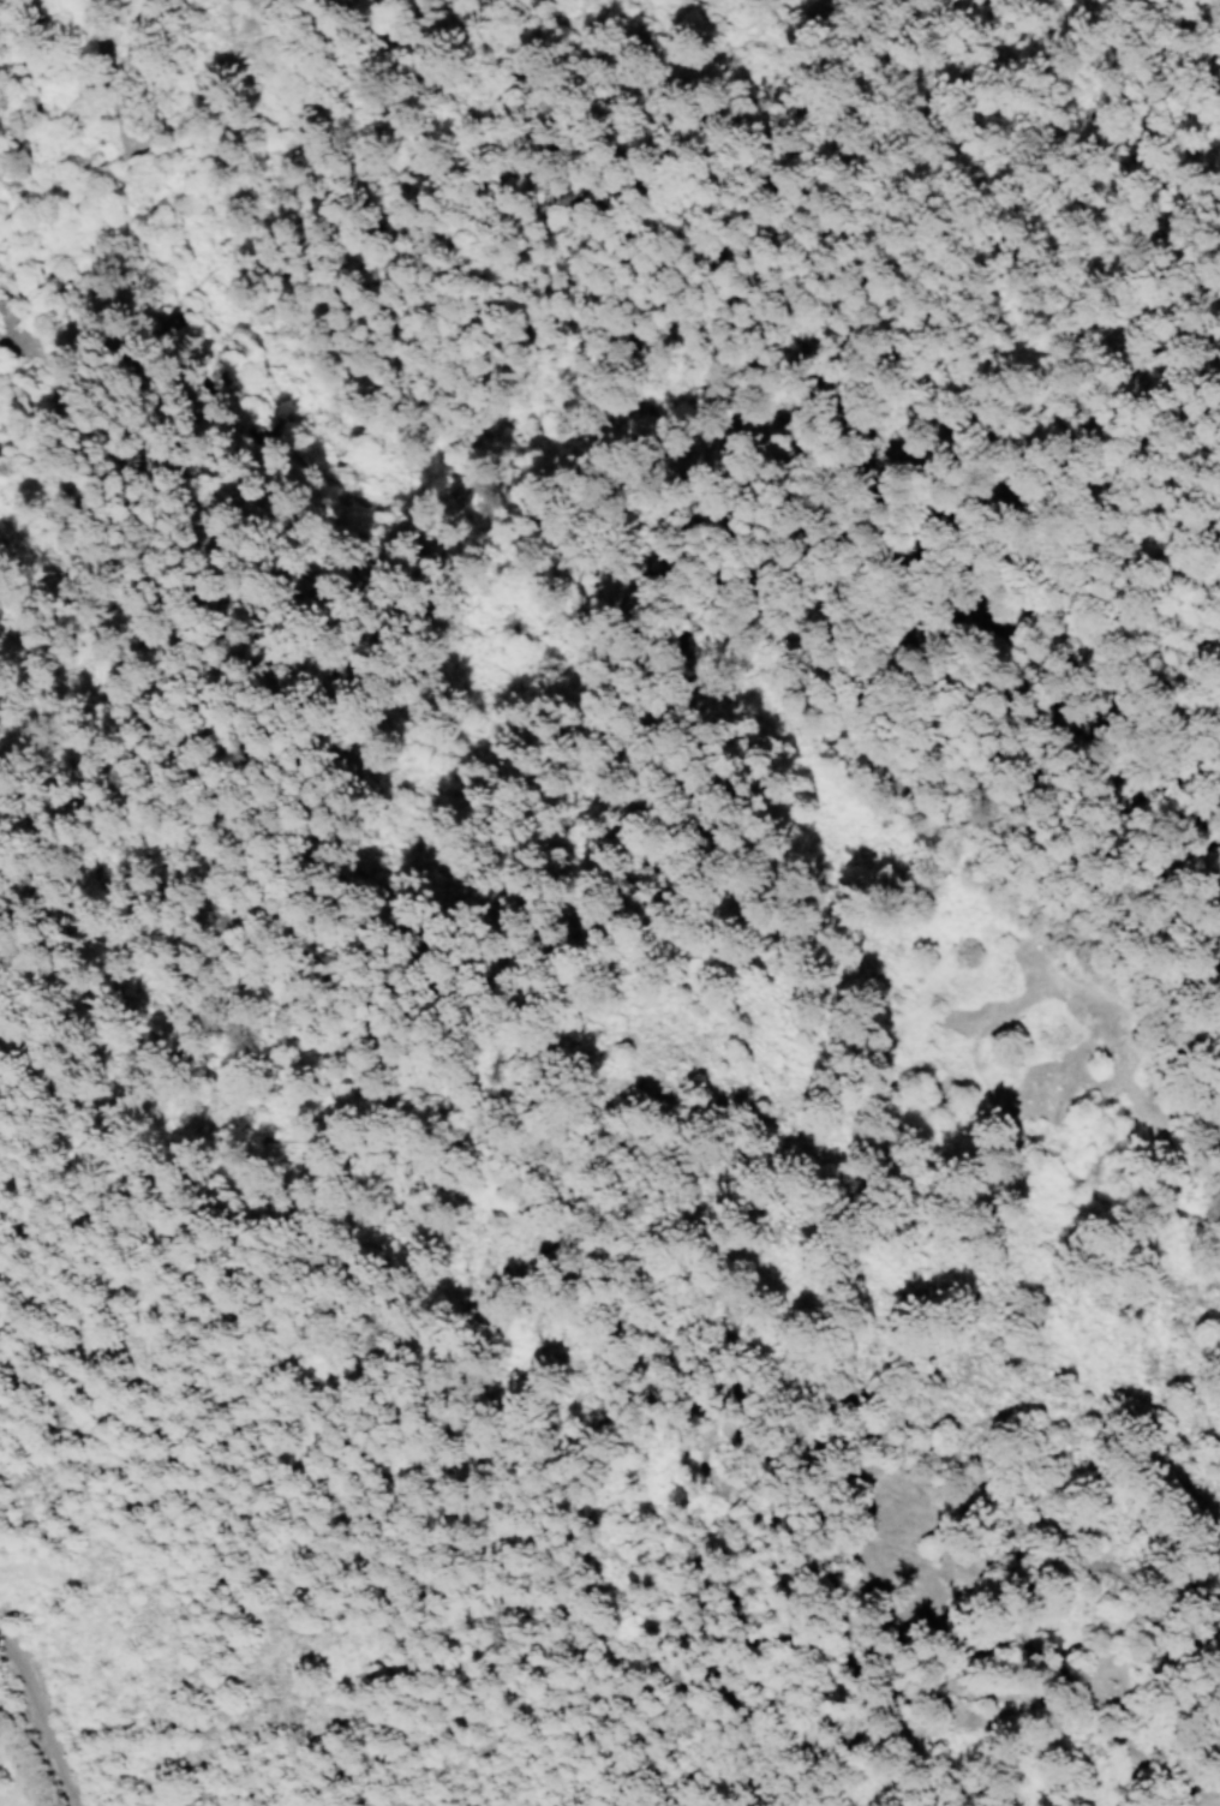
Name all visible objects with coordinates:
road: (46, 1718)

